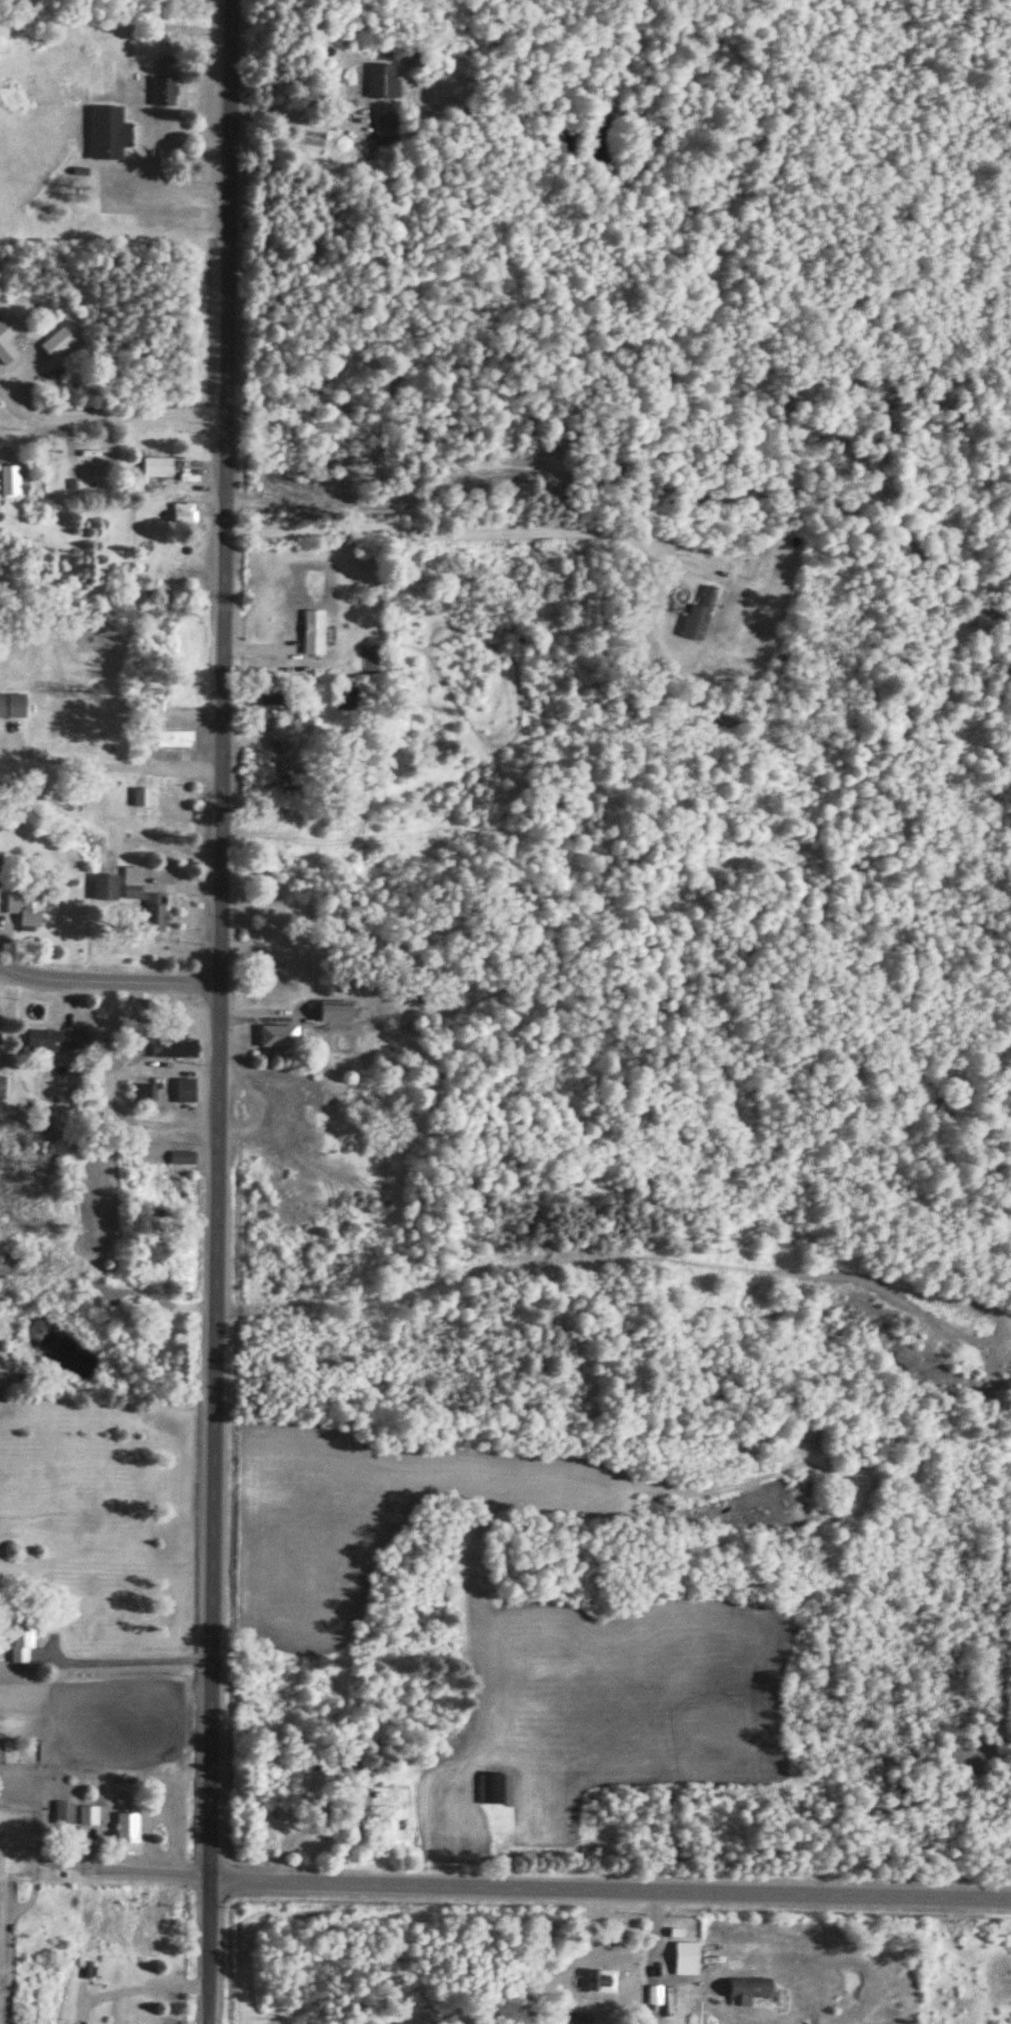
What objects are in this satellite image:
building: (163, 83)
building: (382, 83)
road: (296, 120)
building: (385, 132)
building: (107, 134)
building: (7, 337)
building: (56, 343)
road: (89, 417)
road: (24, 433)
building: (155, 467)
road: (500, 534)
building: (698, 617)
building: (313, 633)
building: (346, 699)
building: (12, 707)
building: (276, 714)
building: (173, 739)
road: (167, 770)
building: (279, 784)
building: (141, 797)
building: (104, 887)
building: (144, 900)
building: (25, 910)
road: (107, 980)
road: (216, 1011)
building: (334, 1012)
building: (277, 1036)
building: (93, 1037)
building: (52, 1041)
building: (173, 1049)
building: (2, 1088)
building: (184, 1091)
building: (181, 1158)
road: (108, 1402)
building: (21, 1641)
building: (493, 1791)
building: (64, 1814)
building: (89, 1817)
building: (126, 1829)
road: (135, 1869)
road: (612, 1889)
building: (87, 1970)
building: (598, 1982)
road: (144, 1985)
building: (749, 1988)

